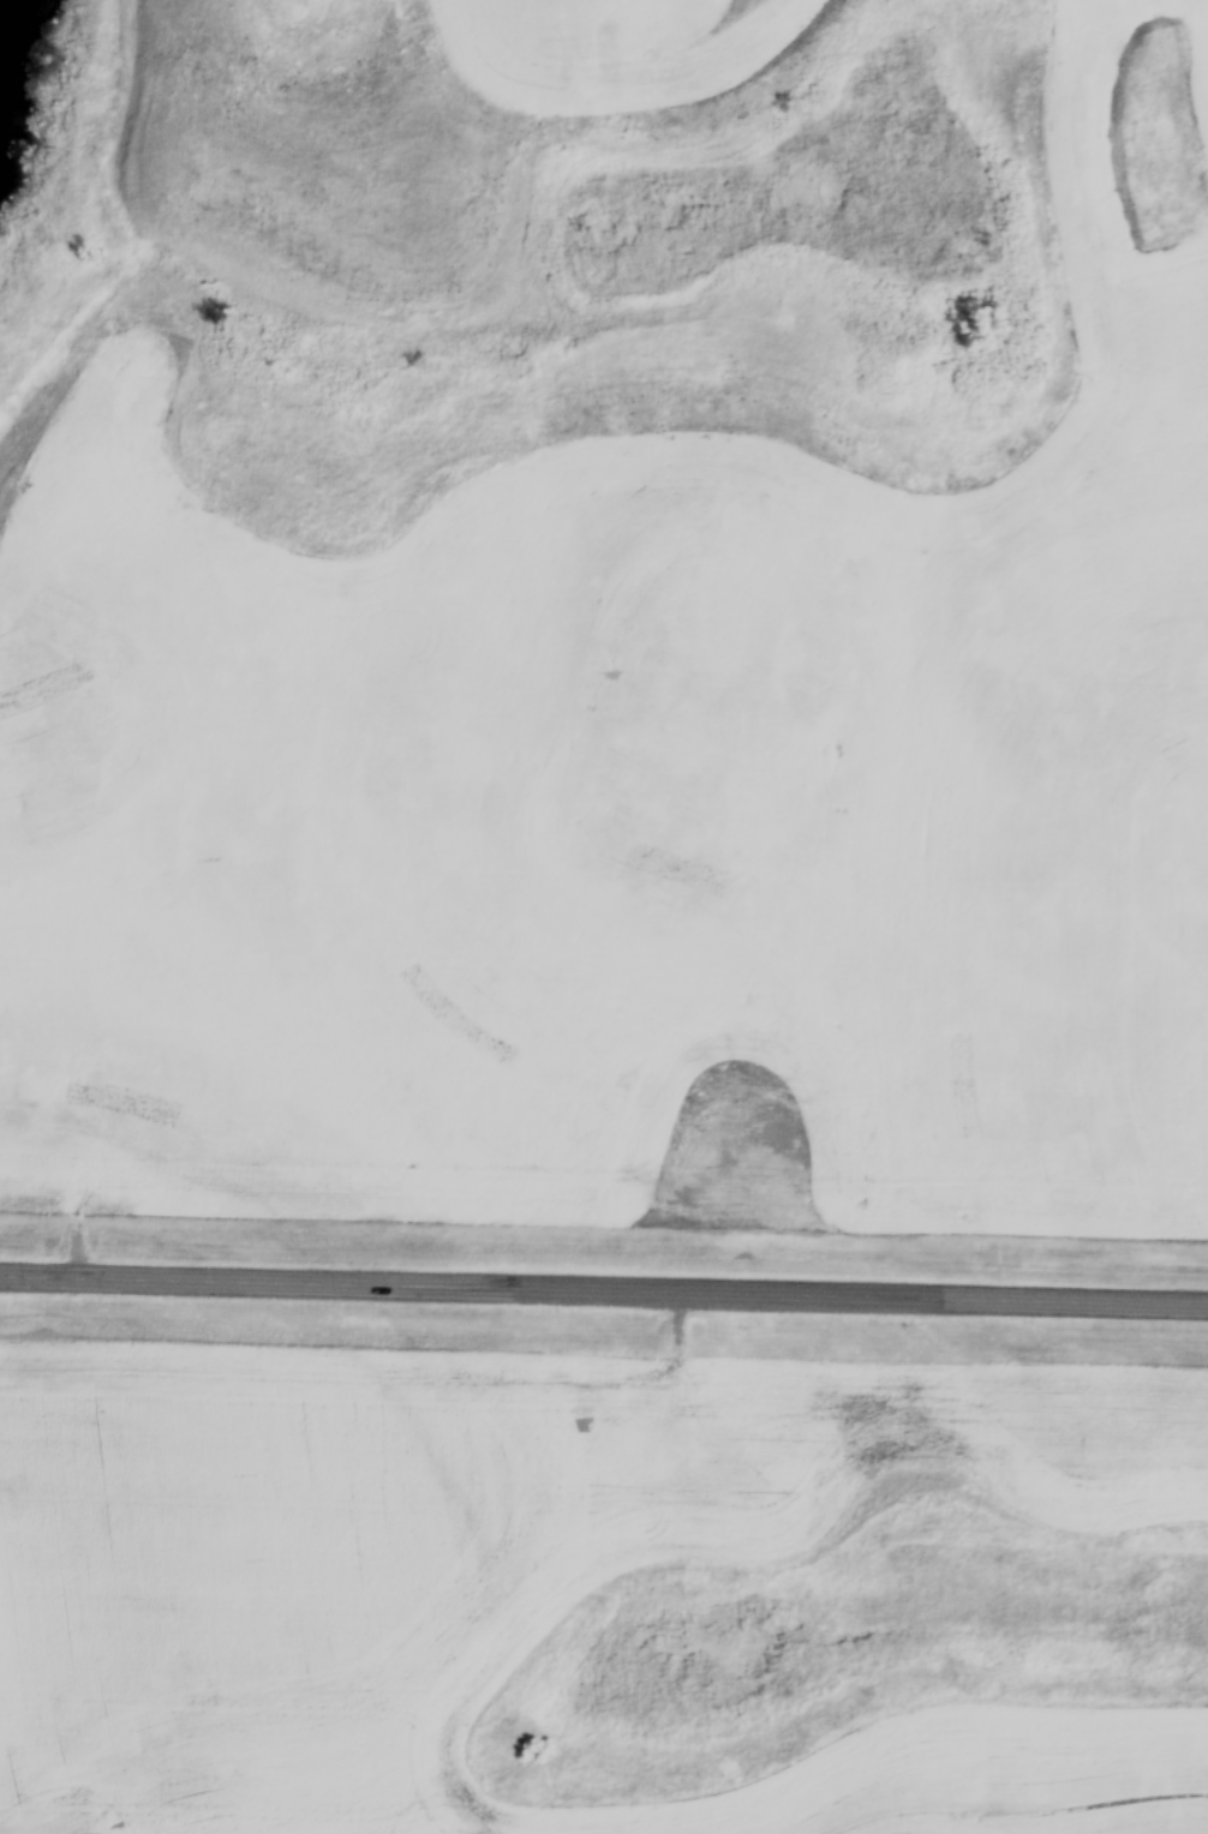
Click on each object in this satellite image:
road: (604, 1271)

